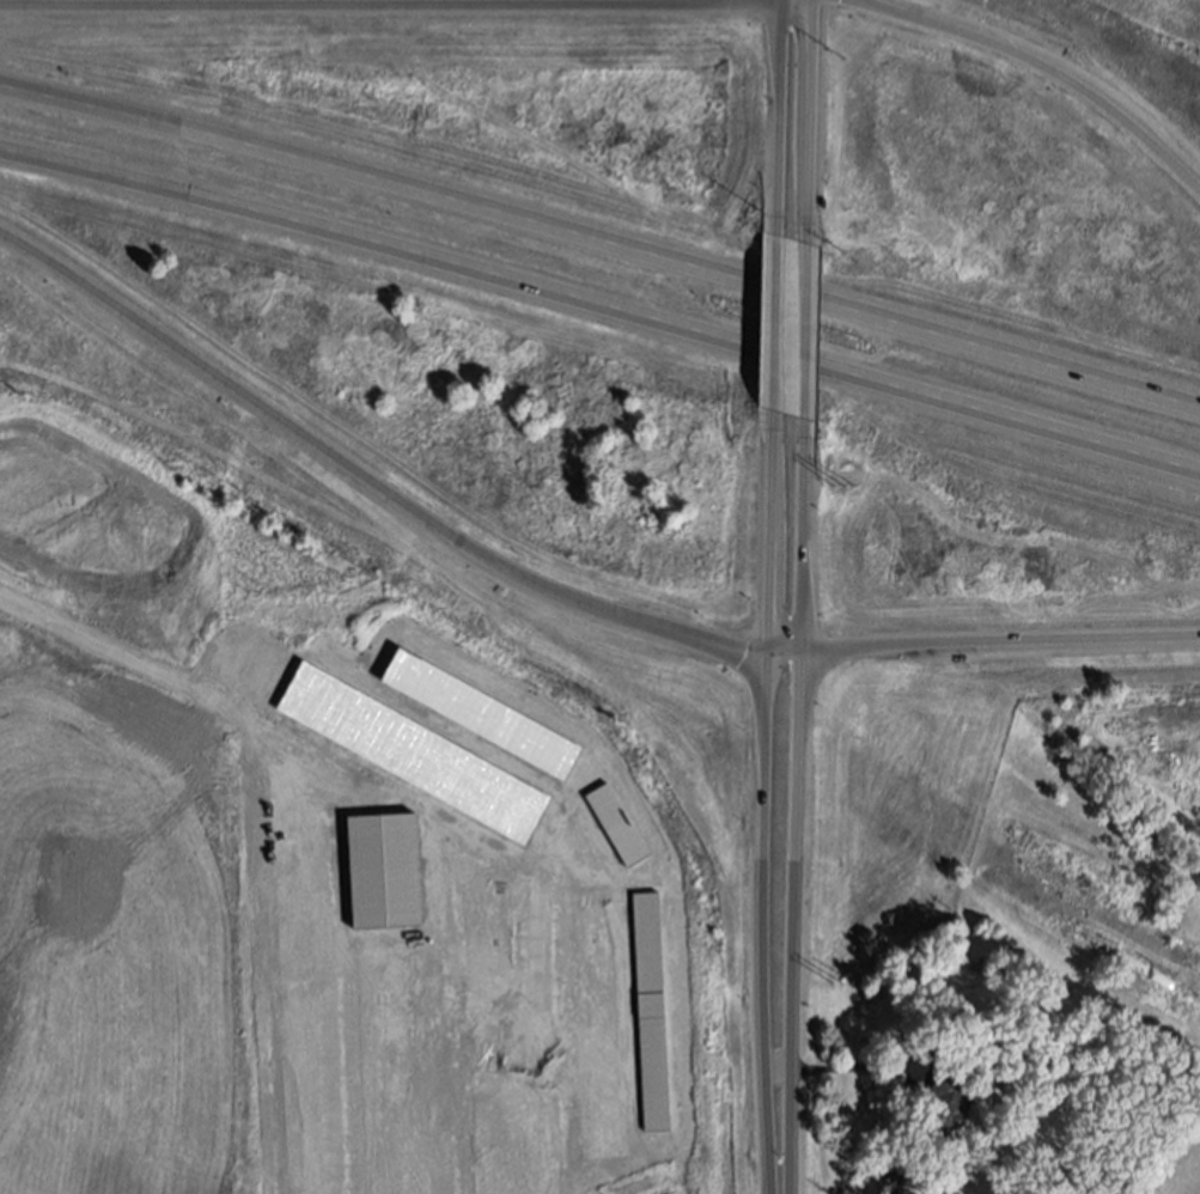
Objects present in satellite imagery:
road: (366, 5)
road: (1042, 66)
road: (779, 118)
road: (808, 122)
road: (601, 239)
road: (601, 313)
road: (775, 325)
road: (803, 331)
road: (365, 475)
road: (981, 640)
road: (762, 804)
road: (793, 806)
building: (615, 826)
building: (383, 871)
building: (650, 1011)
road: (858, 1067)
building: (946, 1104)

